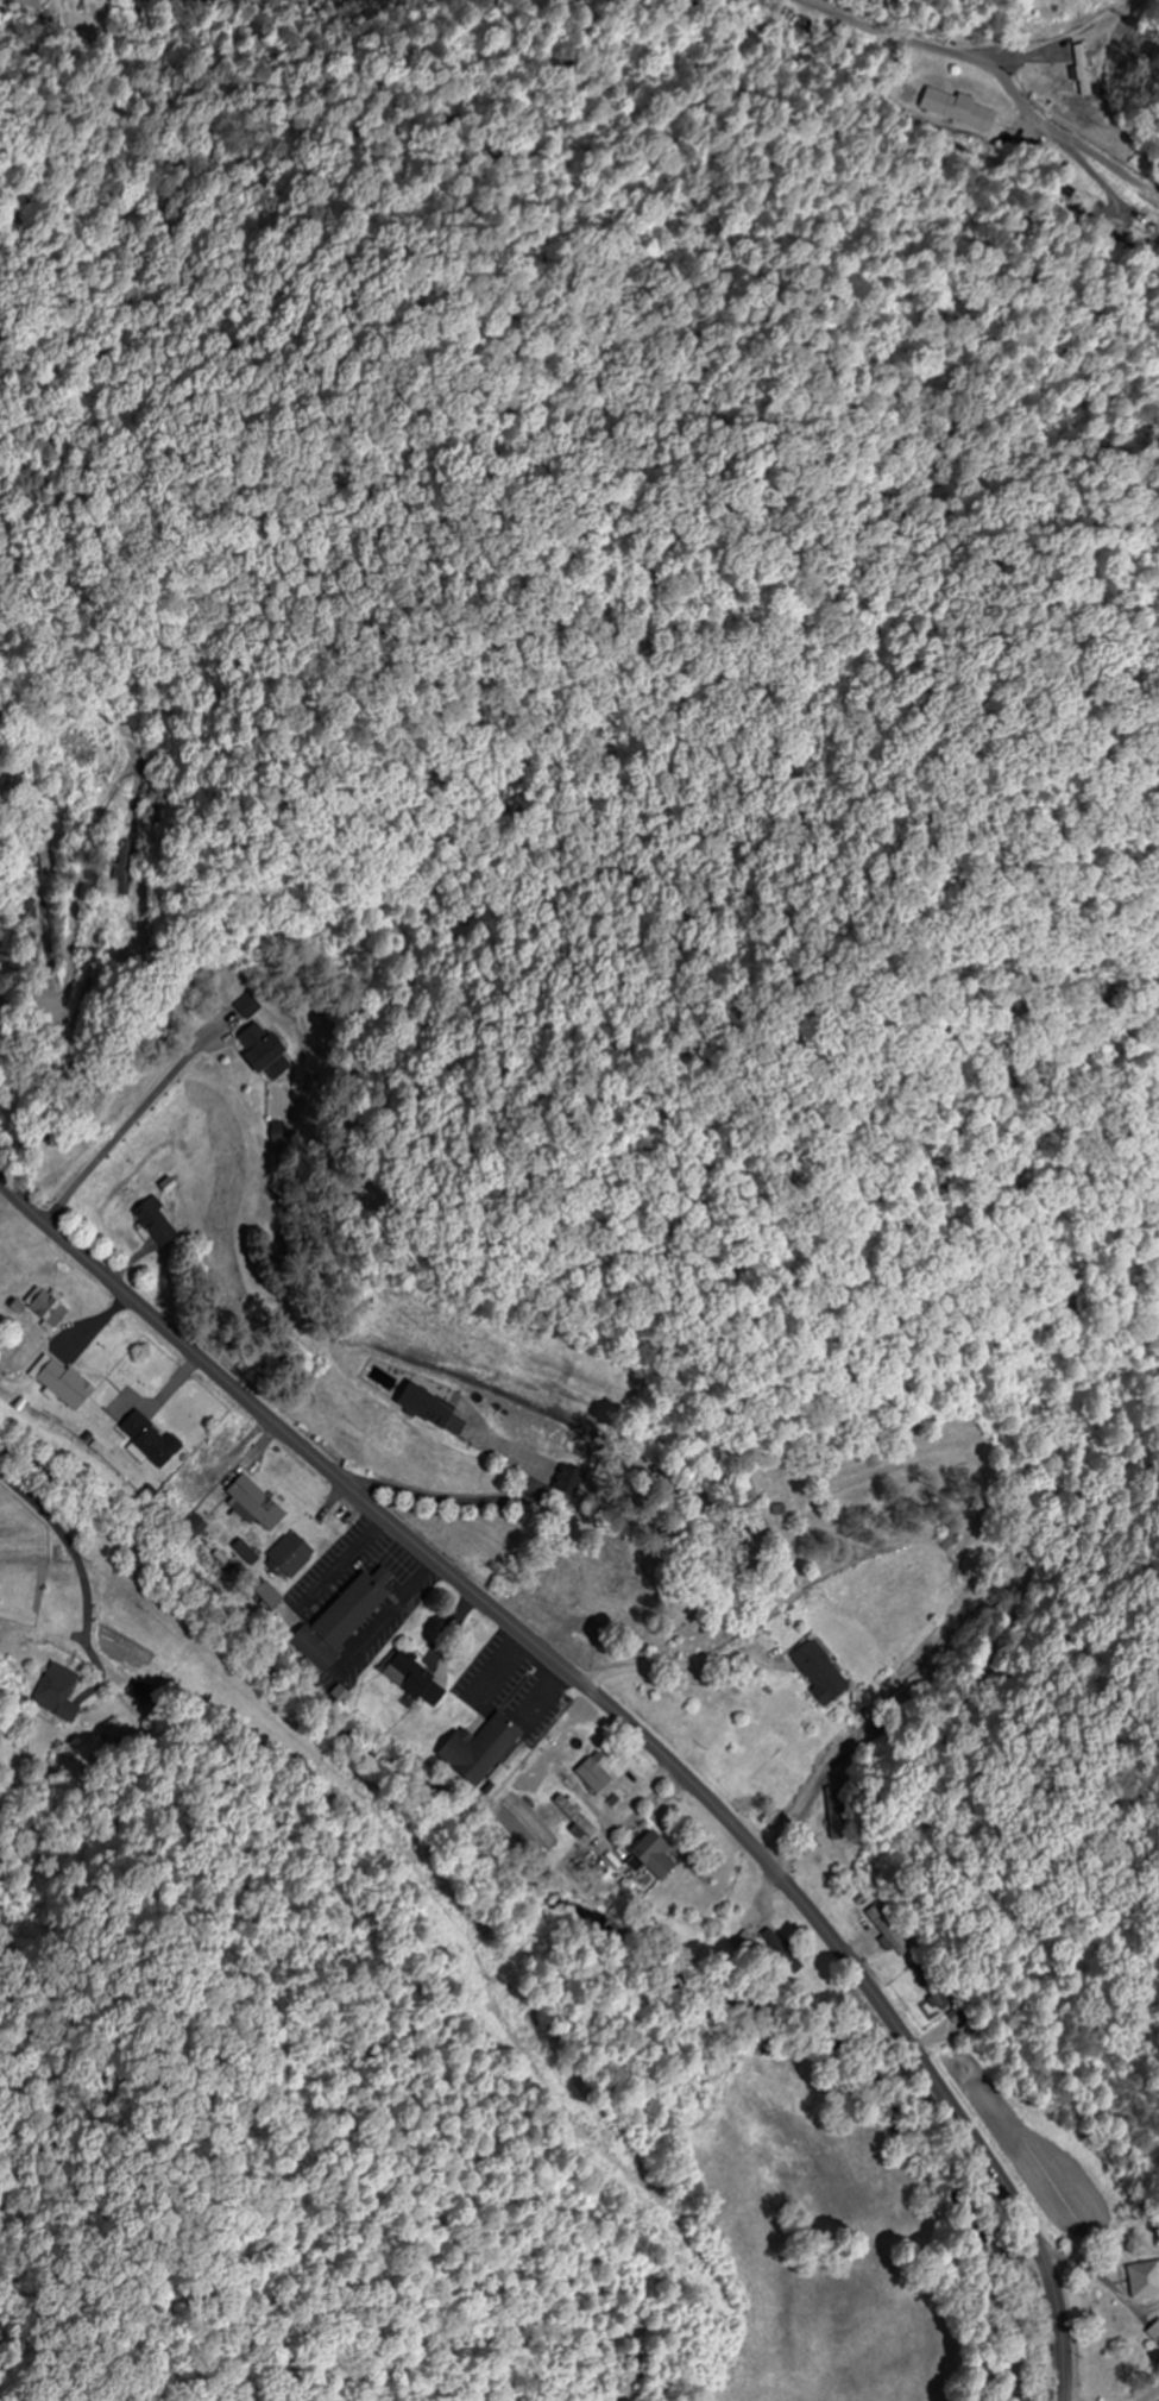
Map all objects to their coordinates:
building: (875, 2)
building: (1079, 70)
road: (995, 71)
building: (958, 109)
building: (73, 749)
road: (259, 817)
building: (115, 872)
building: (246, 1007)
building: (258, 1051)
road: (244, 1196)
building: (155, 1221)
building: (42, 1306)
building: (56, 1382)
building: (420, 1412)
building: (144, 1438)
building: (208, 1451)
building: (237, 1490)
building: (246, 1544)
building: (284, 1557)
building: (266, 1599)
building: (334, 1622)
building: (814, 1673)
building: (410, 1682)
building: (55, 1693)
road: (623, 1720)
building: (554, 1745)
building: (472, 1749)
building: (600, 1787)
building: (573, 1819)
building: (648, 1858)
building: (742, 1943)
building: (938, 2000)
building: (1141, 2280)

